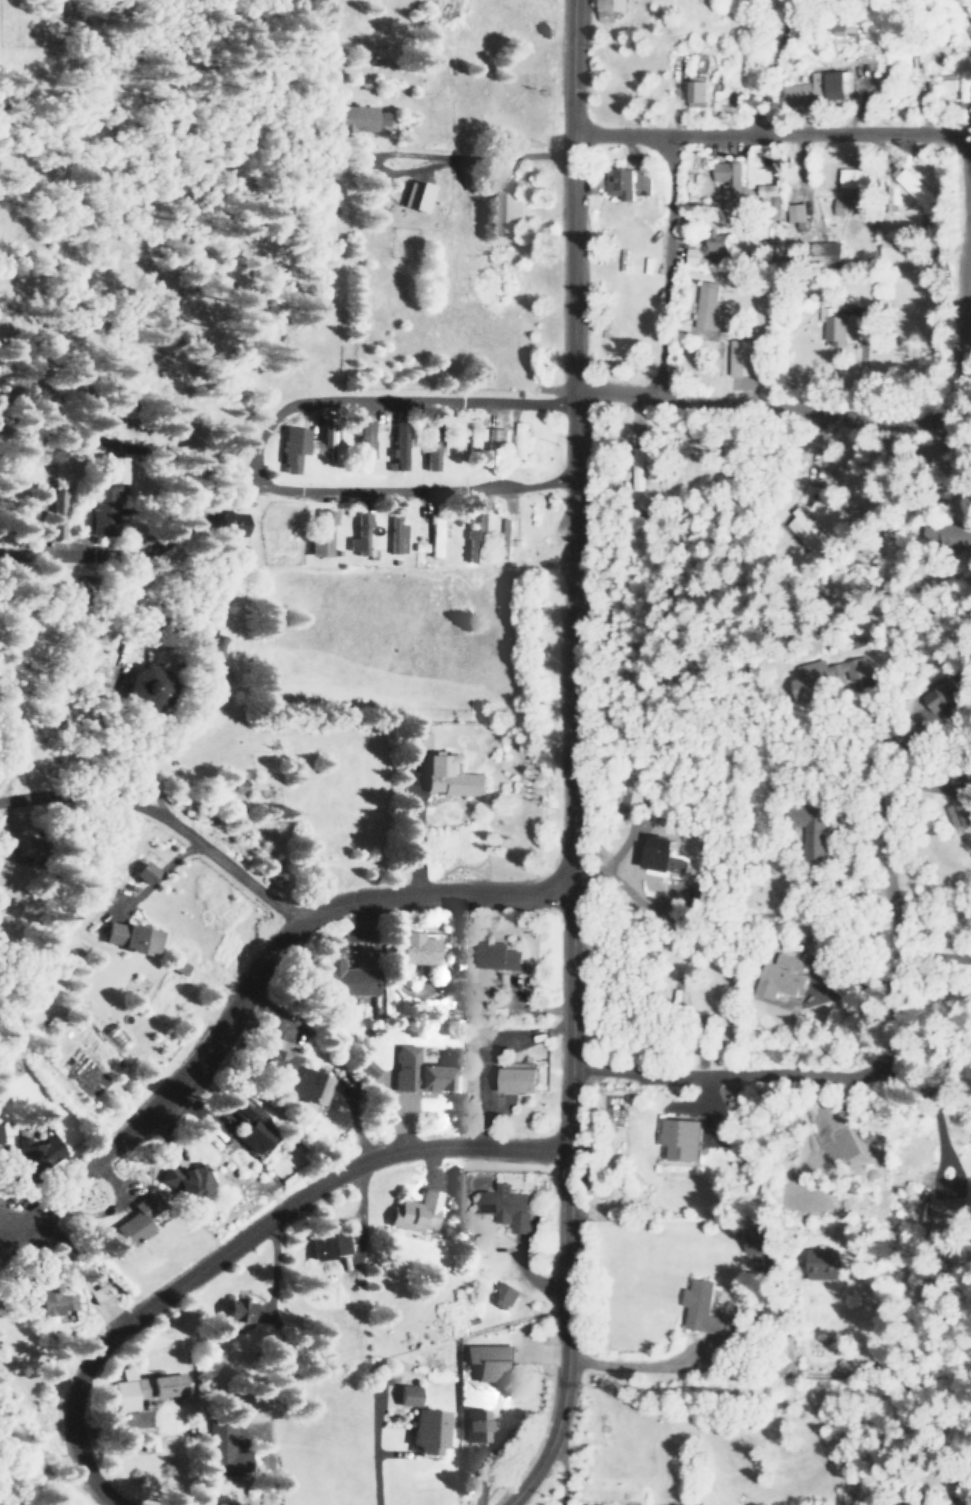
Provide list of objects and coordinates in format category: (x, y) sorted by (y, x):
road: (409, 64)
road: (753, 127)
road: (957, 190)
road: (356, 195)
road: (568, 243)
road: (652, 256)
road: (957, 317)
road: (760, 395)
road: (265, 447)
road: (264, 482)
road: (113, 483)
road: (242, 483)
road: (166, 821)
road: (566, 949)
road: (257, 973)
road: (728, 999)
road: (712, 1071)
road: (237, 1241)
road: (540, 1463)

